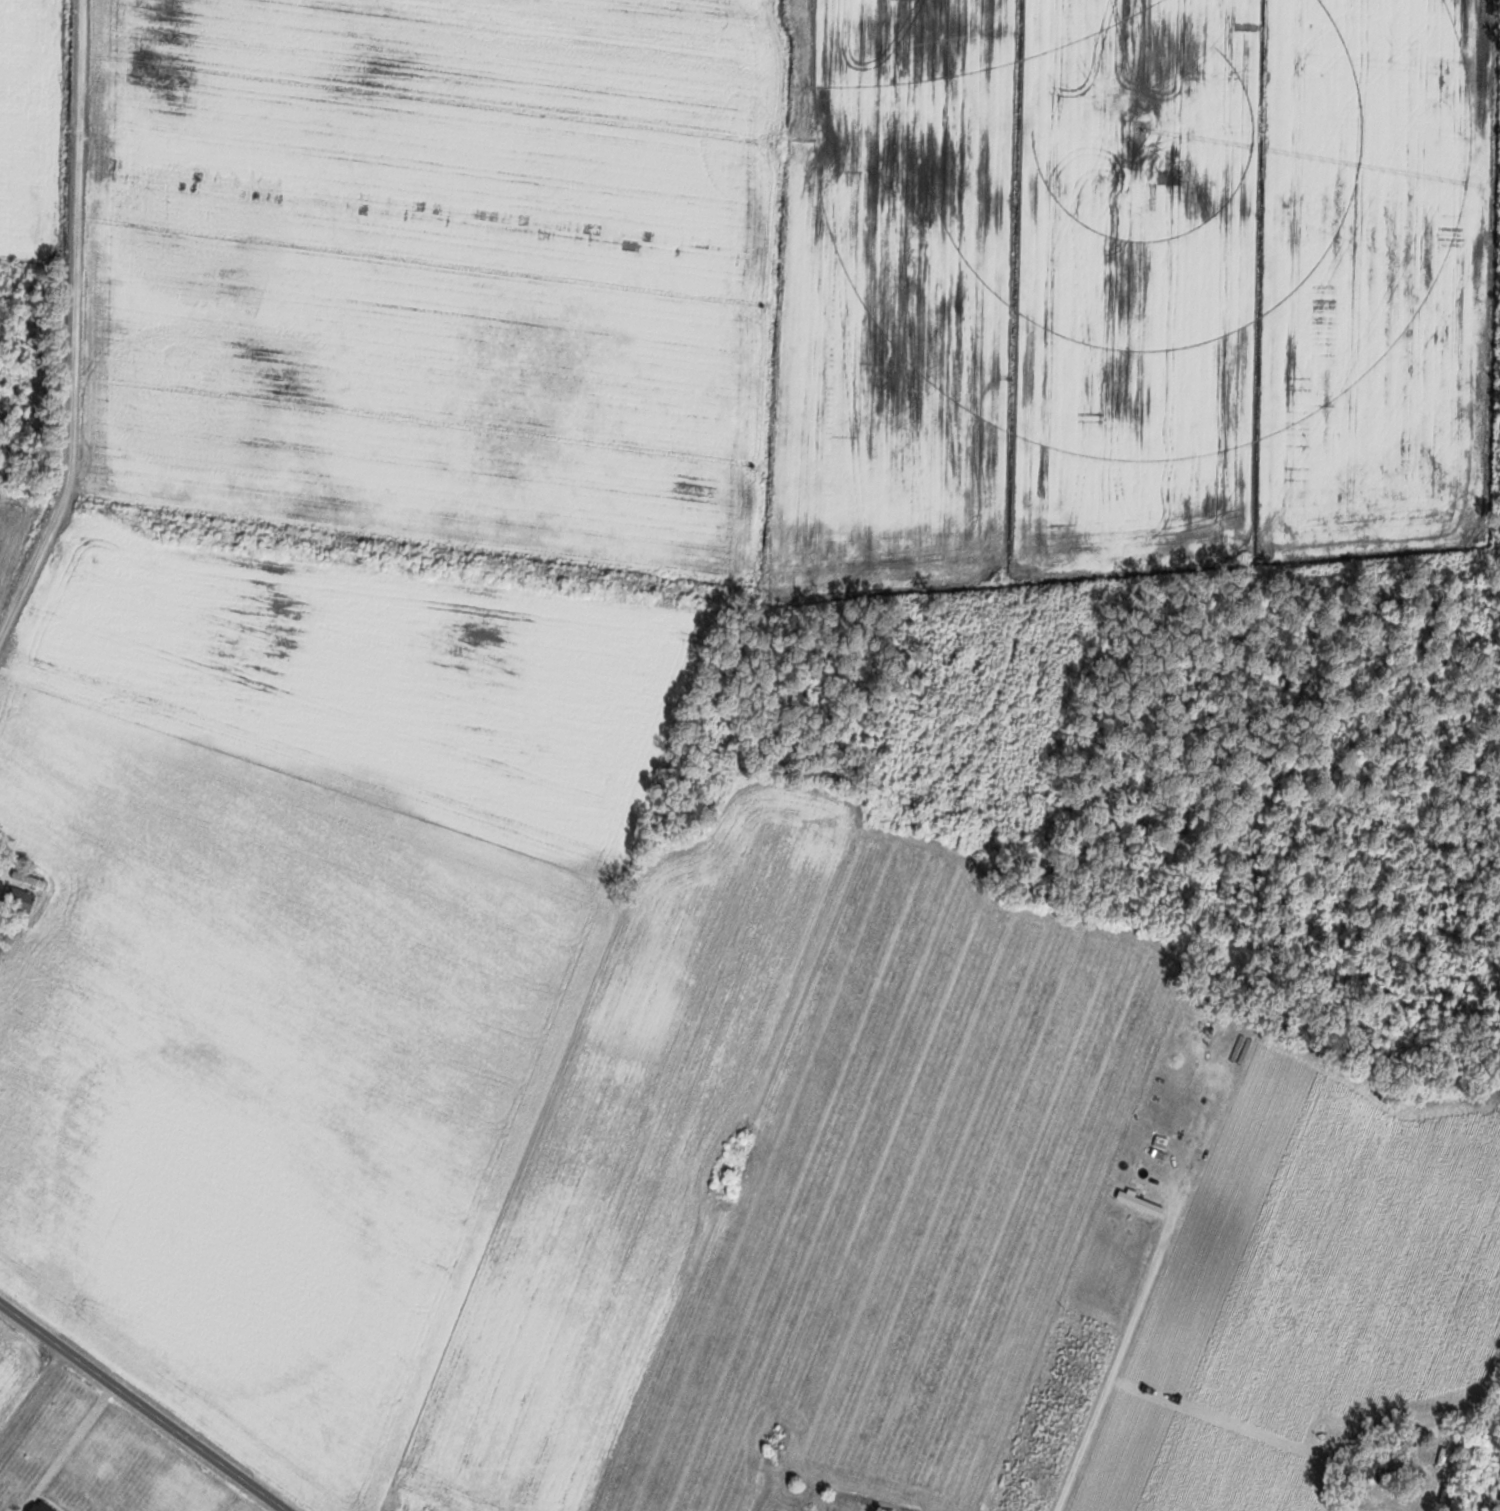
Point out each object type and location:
crop: (26, 122)
crop: (435, 267)
building: (17, 901)
road: (146, 1405)
road: (1470, 1444)
building: (1383, 1467)

